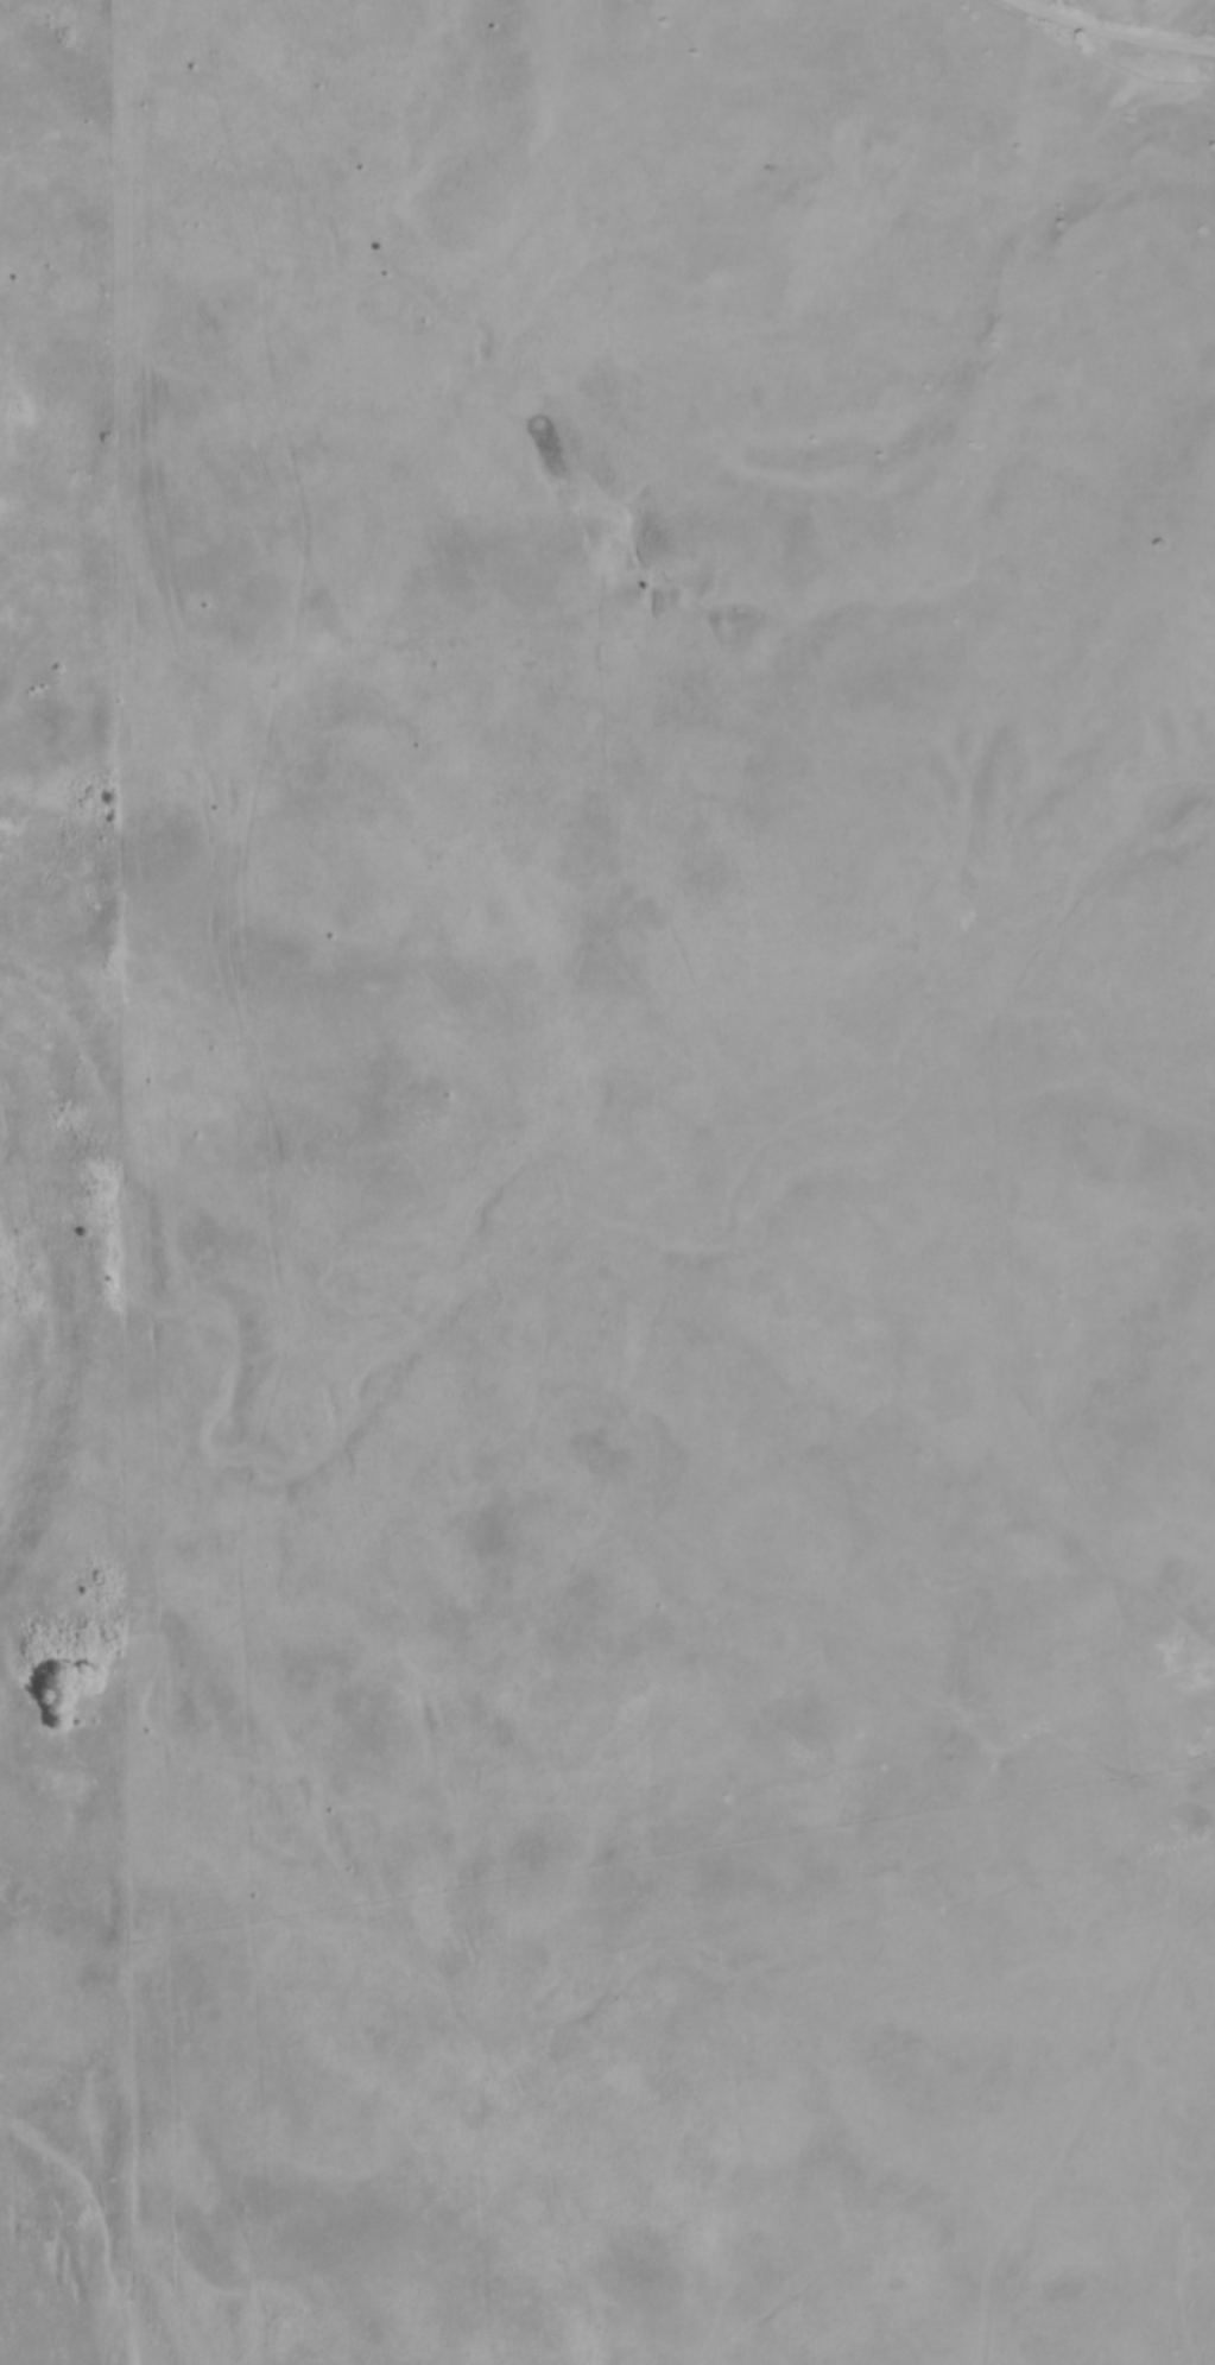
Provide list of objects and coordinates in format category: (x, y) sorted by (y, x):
road: (1114, 30)

